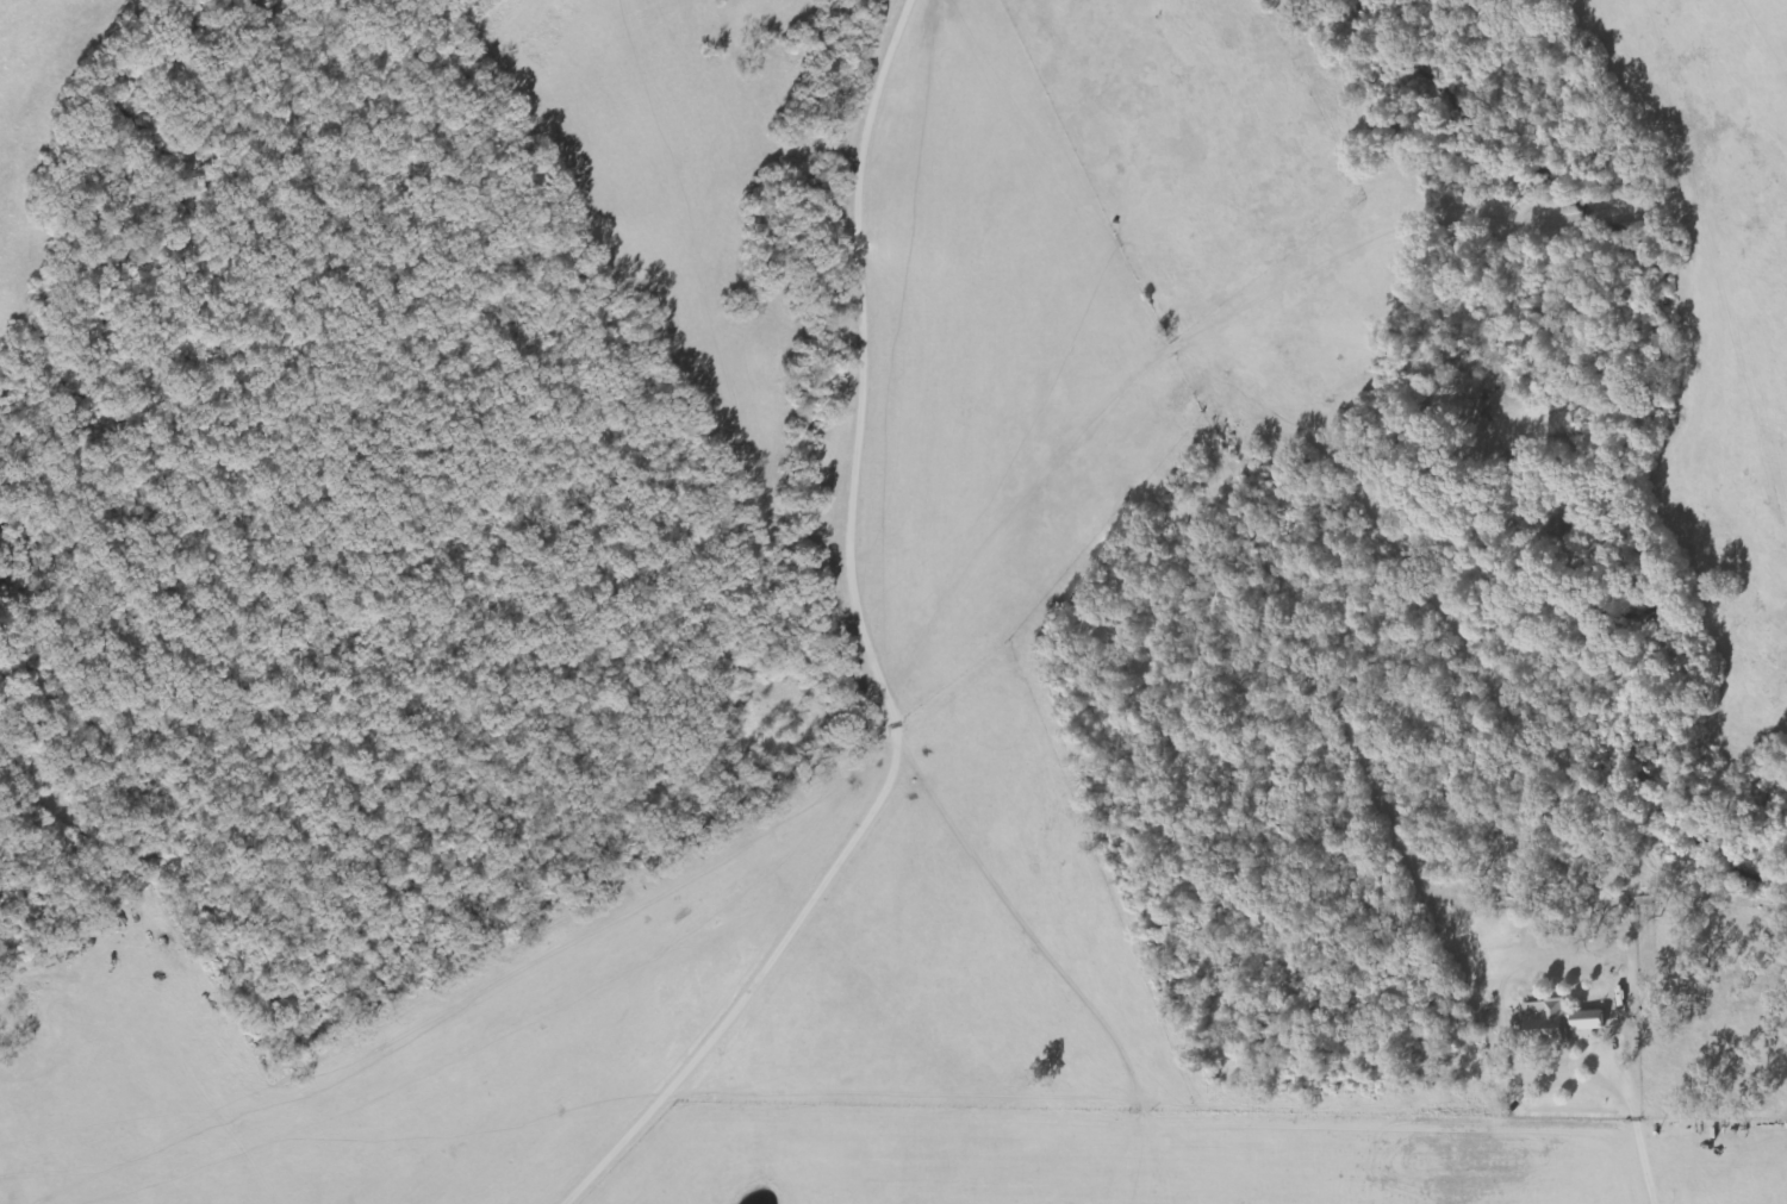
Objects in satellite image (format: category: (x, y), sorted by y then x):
building: (1546, 1016)
building: (1590, 1021)
building: (1587, 1036)

